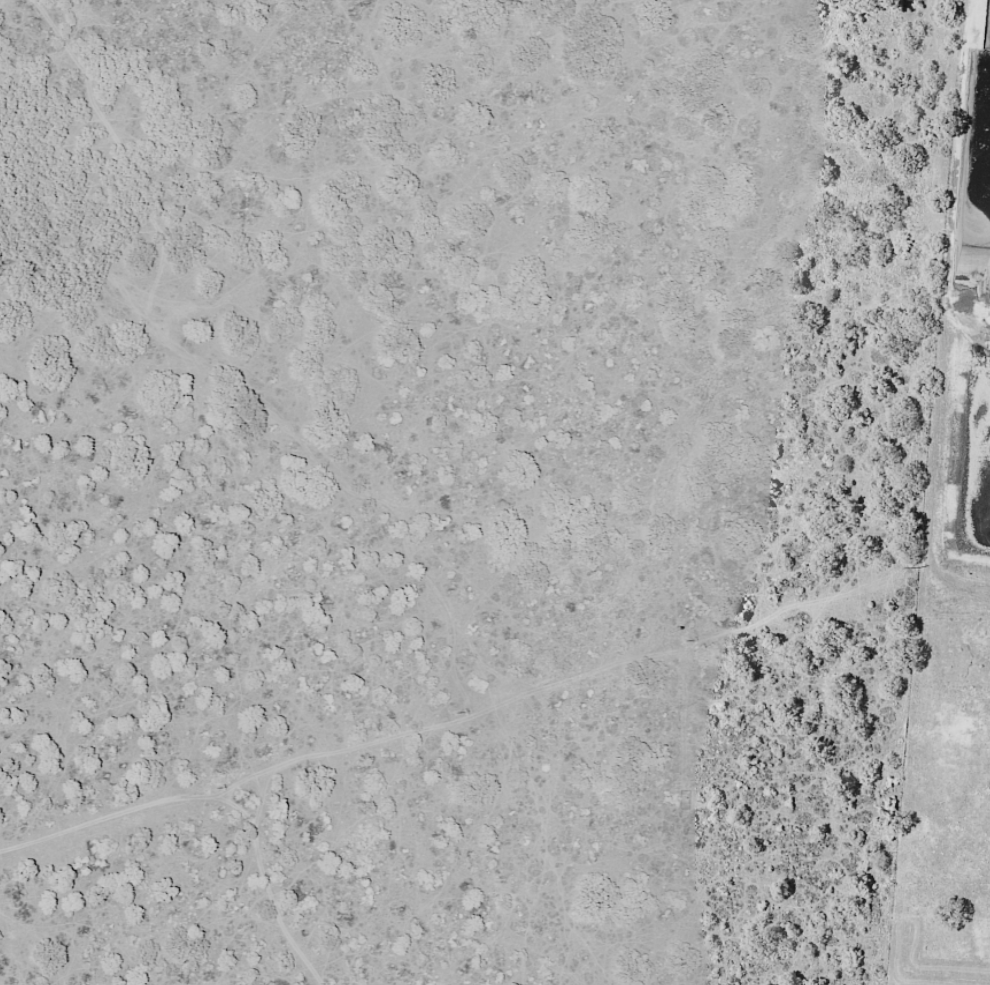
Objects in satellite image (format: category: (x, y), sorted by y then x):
power tower: (920, 566)
power tower: (687, 640)
power tower: (456, 712)
power tower: (218, 787)
road: (208, 839)

